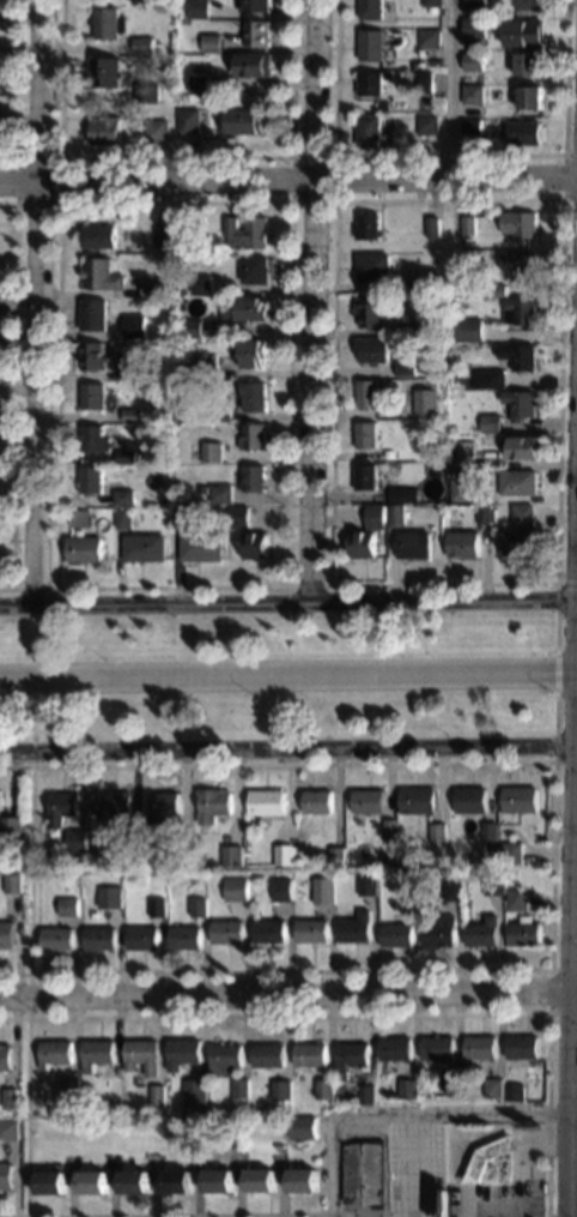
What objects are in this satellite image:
building: (430, 2)
building: (474, 4)
building: (253, 6)
building: (527, 6)
building: (199, 8)
building: (371, 8)
building: (108, 23)
building: (473, 26)
building: (523, 32)
building: (256, 34)
building: (429, 38)
building: (211, 42)
building: (142, 44)
building: (371, 44)
building: (473, 61)
building: (527, 64)
building: (254, 65)
building: (103, 72)
building: (424, 79)
building: (371, 83)
building: (199, 84)
road: (16, 86)
road: (450, 86)
building: (426, 90)
building: (147, 92)
building: (472, 94)
building: (529, 97)
building: (187, 121)
building: (244, 121)
building: (427, 123)
building: (470, 127)
building: (369, 129)
building: (105, 131)
building: (157, 131)
building: (523, 132)
road: (448, 153)
road: (334, 155)
road: (174, 156)
road: (563, 174)
road: (288, 179)
road: (561, 197)
road: (290, 199)
road: (16, 201)
building: (517, 223)
building: (467, 224)
building: (368, 225)
building: (432, 227)
building: (245, 231)
building: (98, 236)
building: (162, 236)
building: (518, 265)
building: (373, 267)
building: (254, 269)
building: (101, 275)
building: (466, 282)
building: (200, 283)
building: (413, 285)
building: (150, 288)
building: (479, 289)
building: (494, 290)
road: (311, 299)
road: (37, 300)
building: (247, 307)
building: (370, 312)
building: (518, 312)
building: (92, 314)
building: (133, 326)
building: (190, 327)
building: (409, 327)
building: (467, 330)
building: (372, 349)
building: (251, 353)
building: (92, 355)
building: (518, 356)
building: (206, 366)
building: (406, 368)
building: (128, 373)
building: (486, 379)
road: (13, 392)
building: (365, 392)
building: (91, 396)
building: (253, 396)
building: (426, 402)
building: (518, 403)
building: (218, 410)
building: (130, 415)
building: (488, 423)
building: (365, 434)
building: (251, 435)
building: (91, 438)
building: (448, 439)
building: (502, 439)
building: (526, 447)
building: (211, 451)
building: (387, 453)
building: (462, 454)
building: (124, 456)
building: (438, 466)
building: (454, 474)
building: (364, 476)
building: (253, 478)
building: (91, 480)
building: (518, 482)
building: (201, 489)
building: (460, 490)
building: (219, 493)
building: (400, 494)
building: (122, 496)
building: (484, 514)
building: (182, 516)
building: (238, 516)
building: (373, 516)
building: (396, 516)
building: (522, 516)
building: (78, 517)
building: (122, 518)
building: (363, 543)
building: (413, 543)
building: (516, 543)
building: (253, 544)
building: (462, 544)
building: (142, 547)
building: (199, 547)
building: (83, 548)
road: (565, 582)
road: (308, 584)
road: (45, 586)
road: (555, 596)
road: (287, 600)
road: (555, 631)
road: (555, 670)
park: (283, 673)
road: (287, 674)
road: (42, 681)
road: (554, 711)
road: (287, 748)
road: (553, 757)
building: (469, 799)
building: (518, 799)
building: (366, 800)
building: (417, 800)
building: (316, 801)
building: (114, 802)
building: (266, 802)
building: (213, 803)
building: (163, 805)
building: (60, 807)
building: (11, 827)
building: (388, 830)
building: (488, 831)
building: (437, 832)
road: (571, 835)
building: (129, 836)
building: (77, 839)
building: (511, 852)
building: (283, 854)
building: (231, 855)
building: (335, 855)
building: (178, 857)
road: (551, 861)
building: (115, 864)
building: (326, 880)
building: (317, 881)
building: (11, 882)
building: (408, 882)
building: (492, 882)
building: (366, 885)
building: (235, 888)
building: (280, 888)
building: (451, 890)
building: (113, 898)
building: (516, 898)
building: (196, 904)
building: (66, 906)
building: (156, 906)
building: (353, 928)
building: (268, 930)
building: (311, 930)
building: (523, 930)
building: (225, 932)
building: (439, 932)
building: (482, 932)
building: (6, 934)
building: (395, 934)
building: (183, 936)
building: (55, 938)
building: (98, 938)
building: (141, 938)
road: (549, 974)
road: (26, 983)
road: (288, 995)
road: (377, 1012)
building: (523, 1047)
building: (395, 1048)
building: (437, 1048)
building: (479, 1048)
building: (54, 1052)
building: (96, 1053)
building: (181, 1053)
building: (310, 1054)
building: (225, 1055)
building: (268, 1055)
building: (5, 1056)
building: (141, 1056)
building: (351, 1056)
building: (117, 1071)
building: (453, 1080)
building: (68, 1088)
building: (241, 1088)
building: (494, 1088)
building: (408, 1089)
building: (281, 1090)
building: (324, 1090)
building: (193, 1091)
building: (515, 1091)
building: (157, 1094)
building: (366, 1094)
building: (457, 1094)
building: (10, 1097)
building: (53, 1111)
road: (463, 1114)
building: (302, 1127)
building: (7, 1128)
building: (236, 1146)
building: (278, 1146)
road: (329, 1159)
building: (492, 1163)
road: (411, 1165)
road: (532, 1165)
parking lot: (414, 1169)
building: (362, 1173)
building: (5, 1174)
building: (175, 1180)
building: (217, 1180)
building: (259, 1180)
building: (302, 1180)
building: (49, 1181)
building: (132, 1181)
building: (91, 1182)
building: (545, 1187)
road: (480, 1199)
road: (369, 1212)
road: (177, 1213)
road: (101, 1216)

